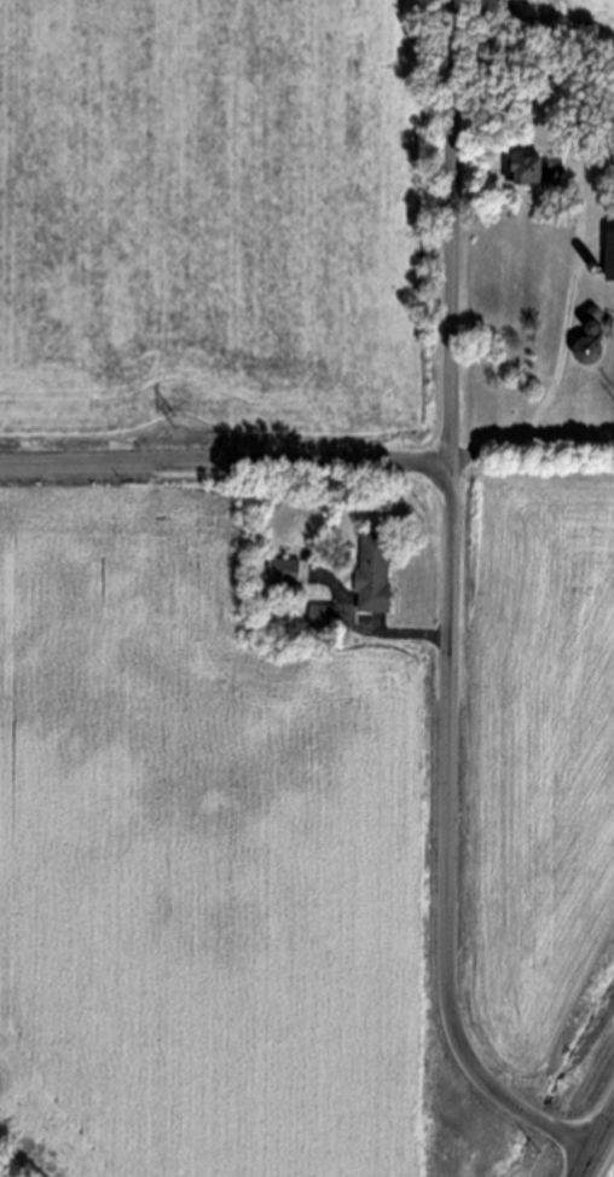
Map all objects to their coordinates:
building: (534, 171)
road: (453, 231)
building: (610, 256)
road: (566, 341)
building: (589, 351)
road: (567, 431)
road: (225, 458)
building: (279, 529)
building: (284, 571)
building: (375, 577)
building: (322, 618)
road: (364, 628)
road: (451, 842)
road: (597, 1146)

